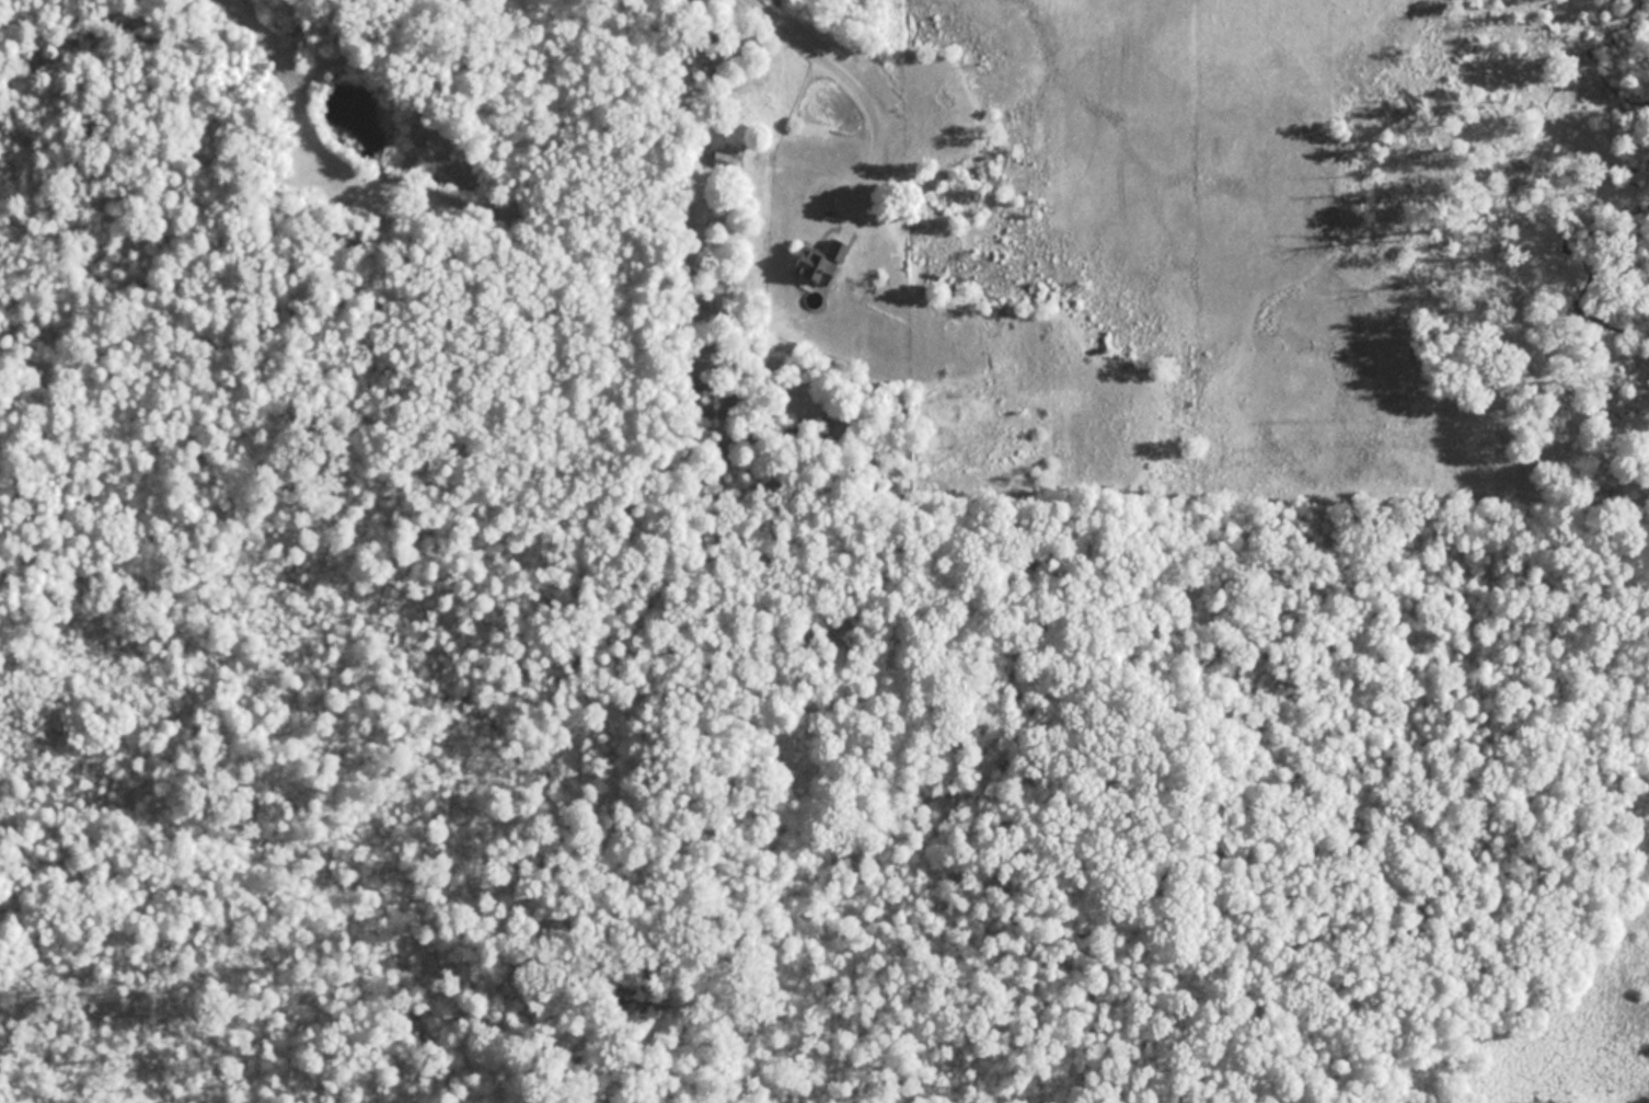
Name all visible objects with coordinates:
road: (860, 79)
building: (821, 262)

